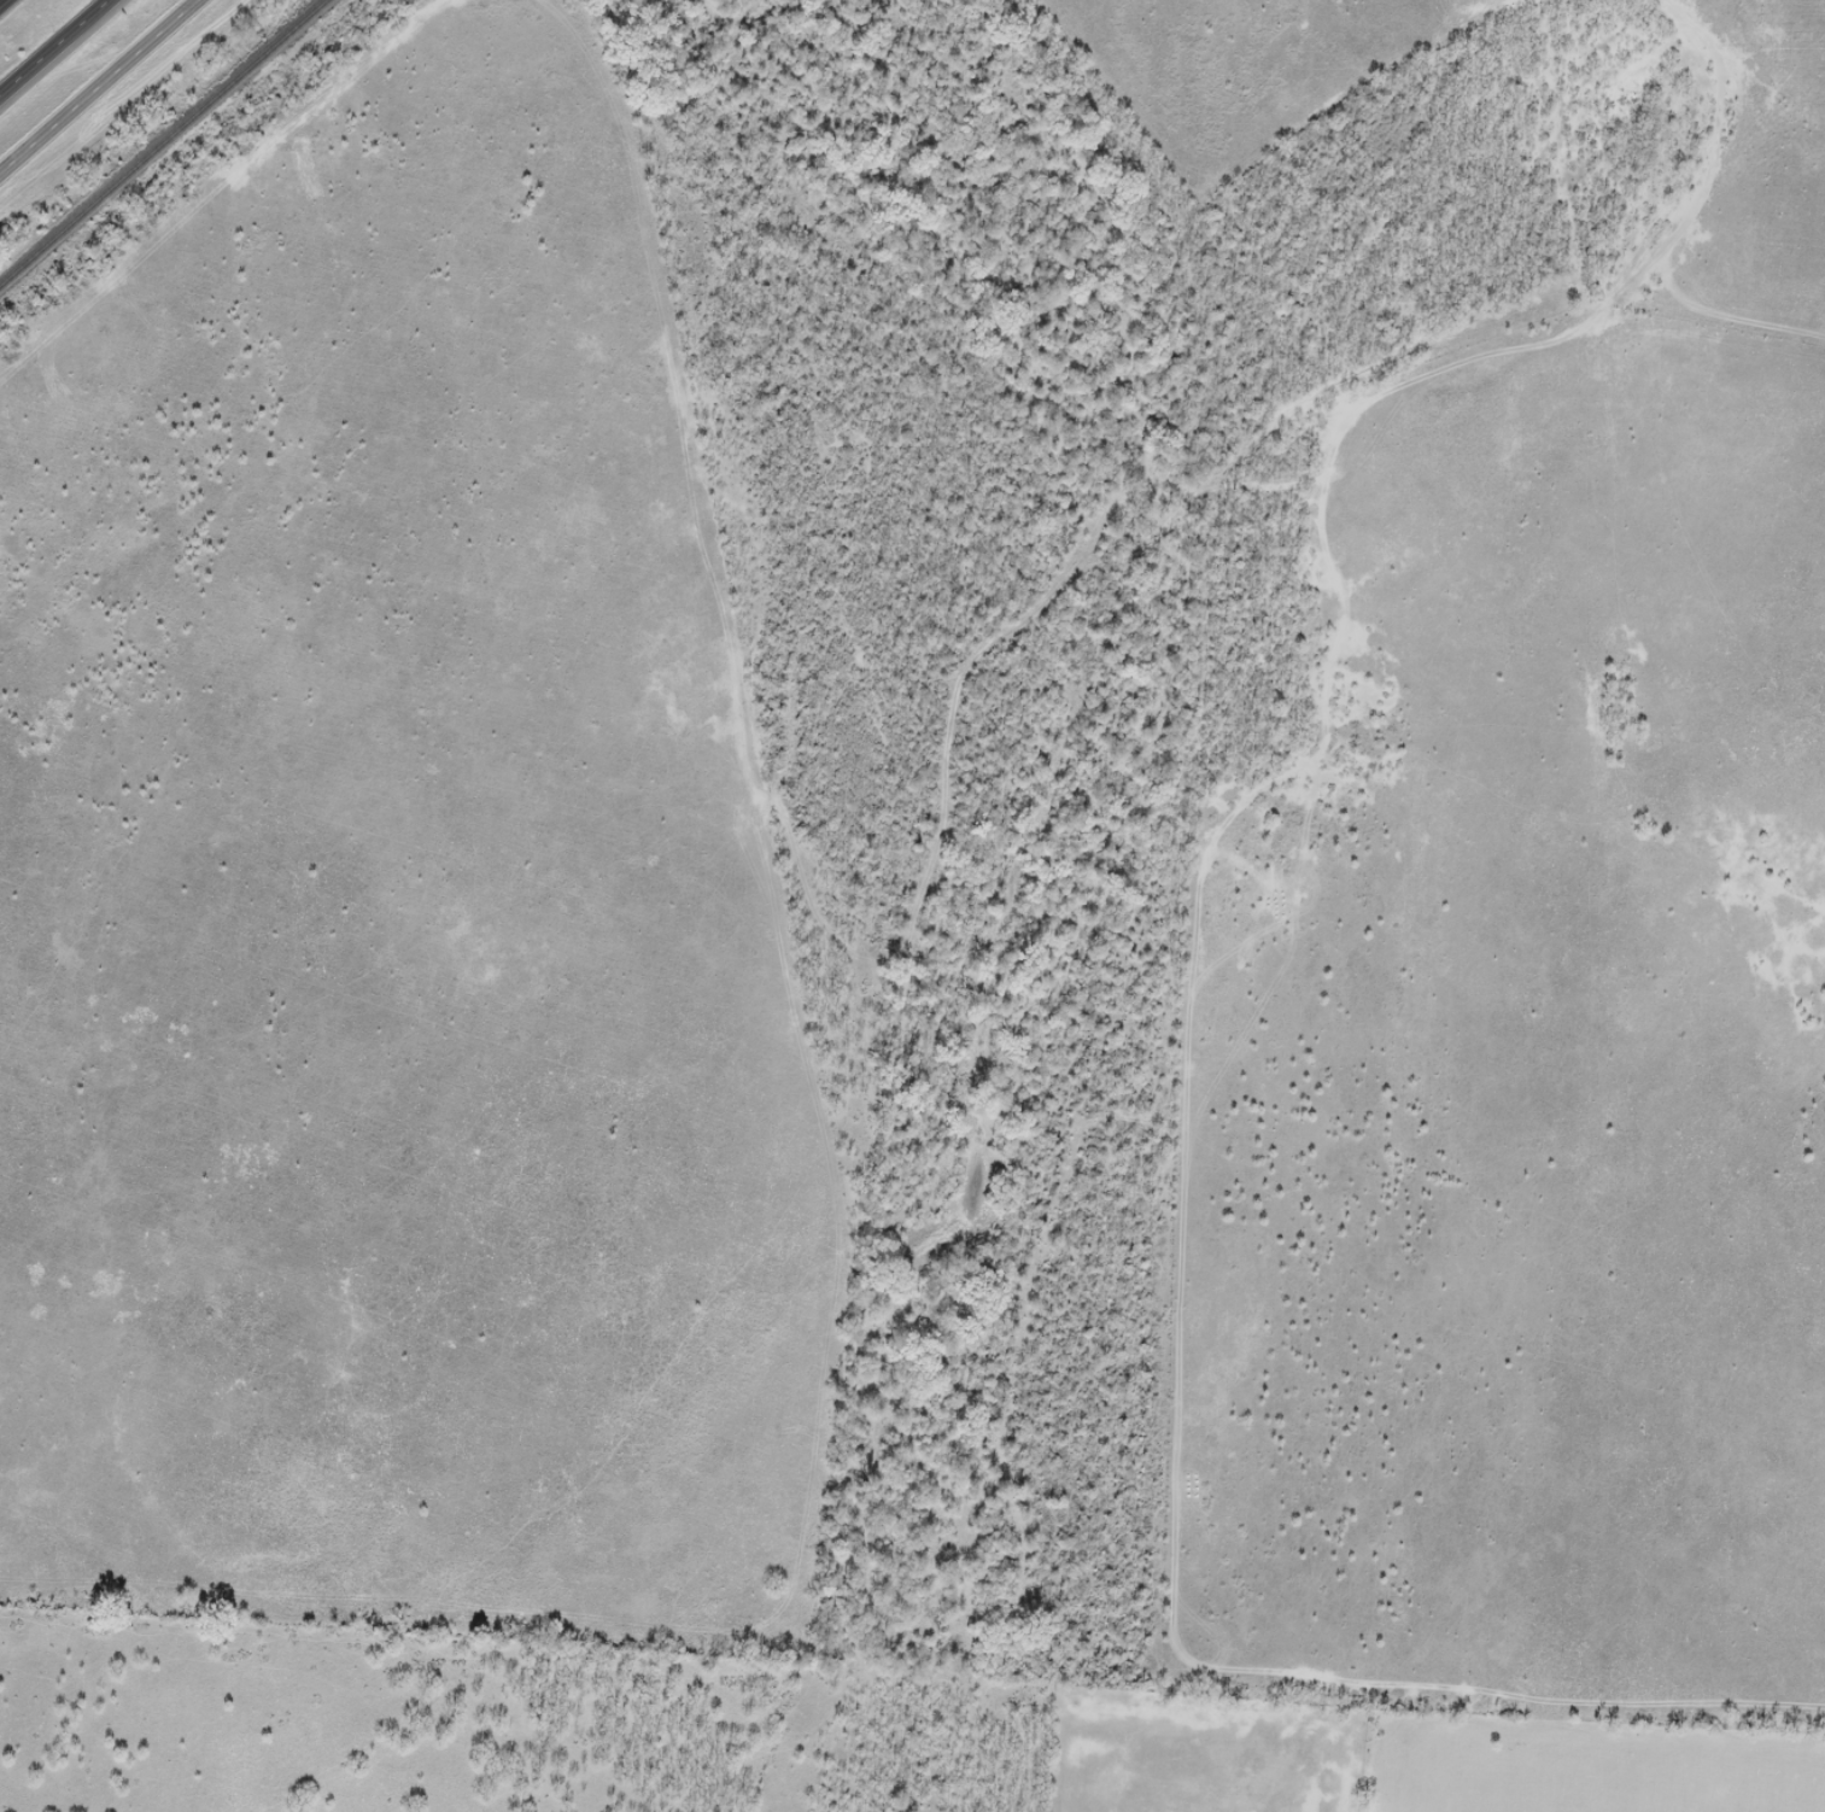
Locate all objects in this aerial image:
road: (53, 47)
road: (95, 83)
railway: (163, 142)

